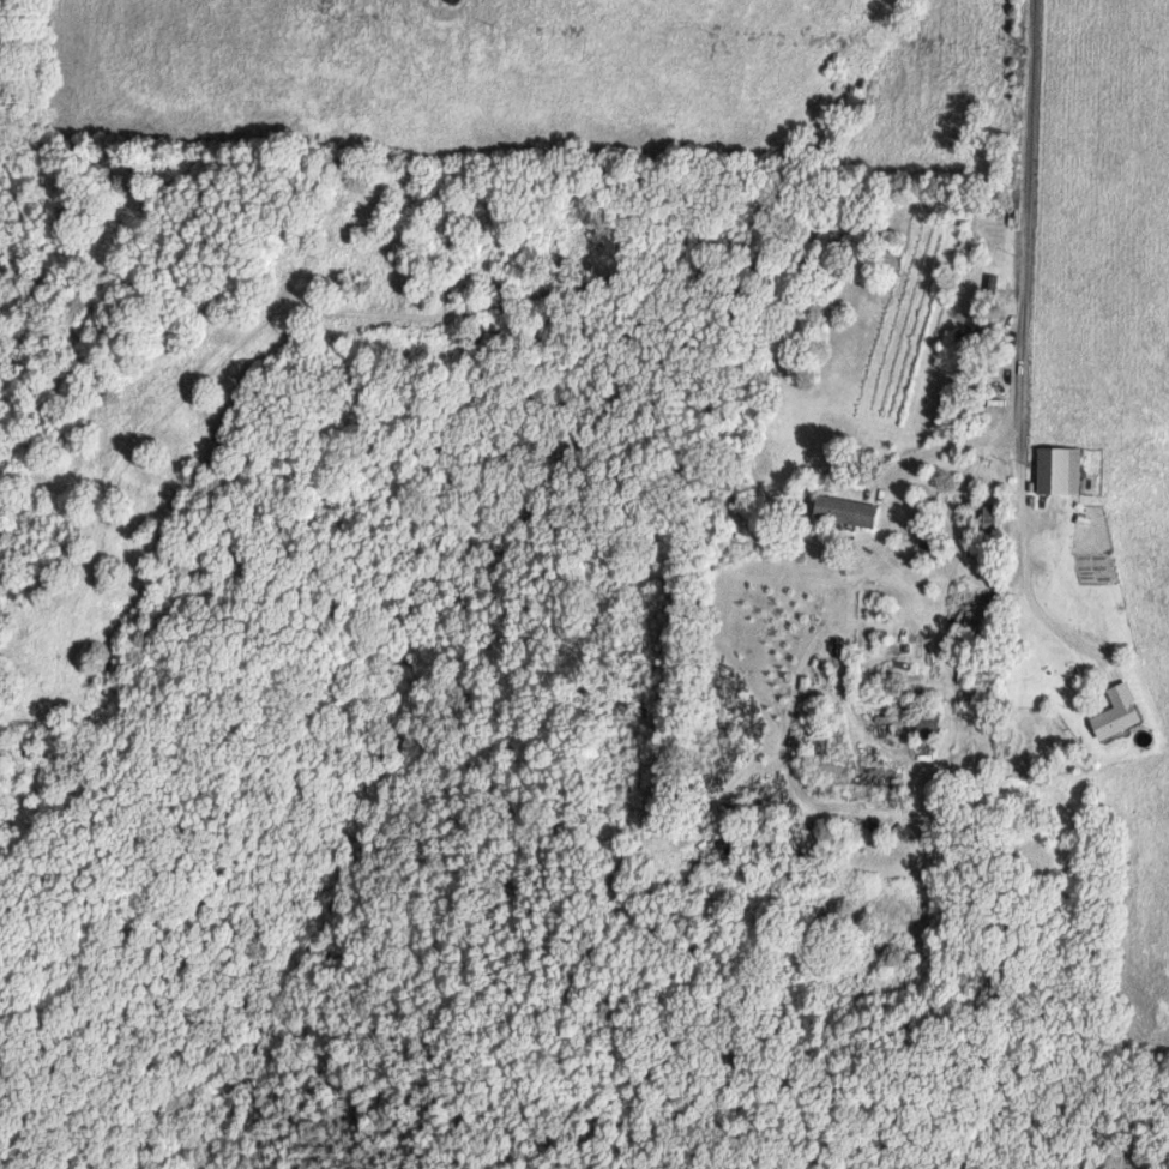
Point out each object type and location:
building: (970, 347)
road: (1019, 355)
road: (941, 441)
building: (1061, 471)
building: (849, 511)
building: (986, 519)
building: (1119, 713)

